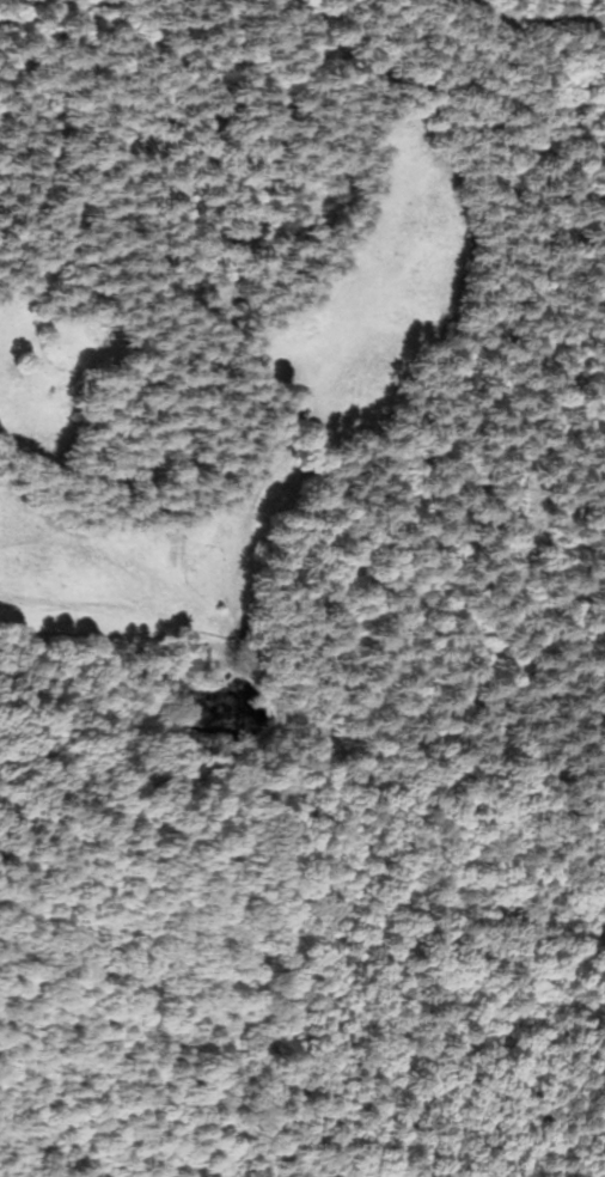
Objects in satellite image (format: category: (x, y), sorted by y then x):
road: (536, 17)
road: (549, 90)

